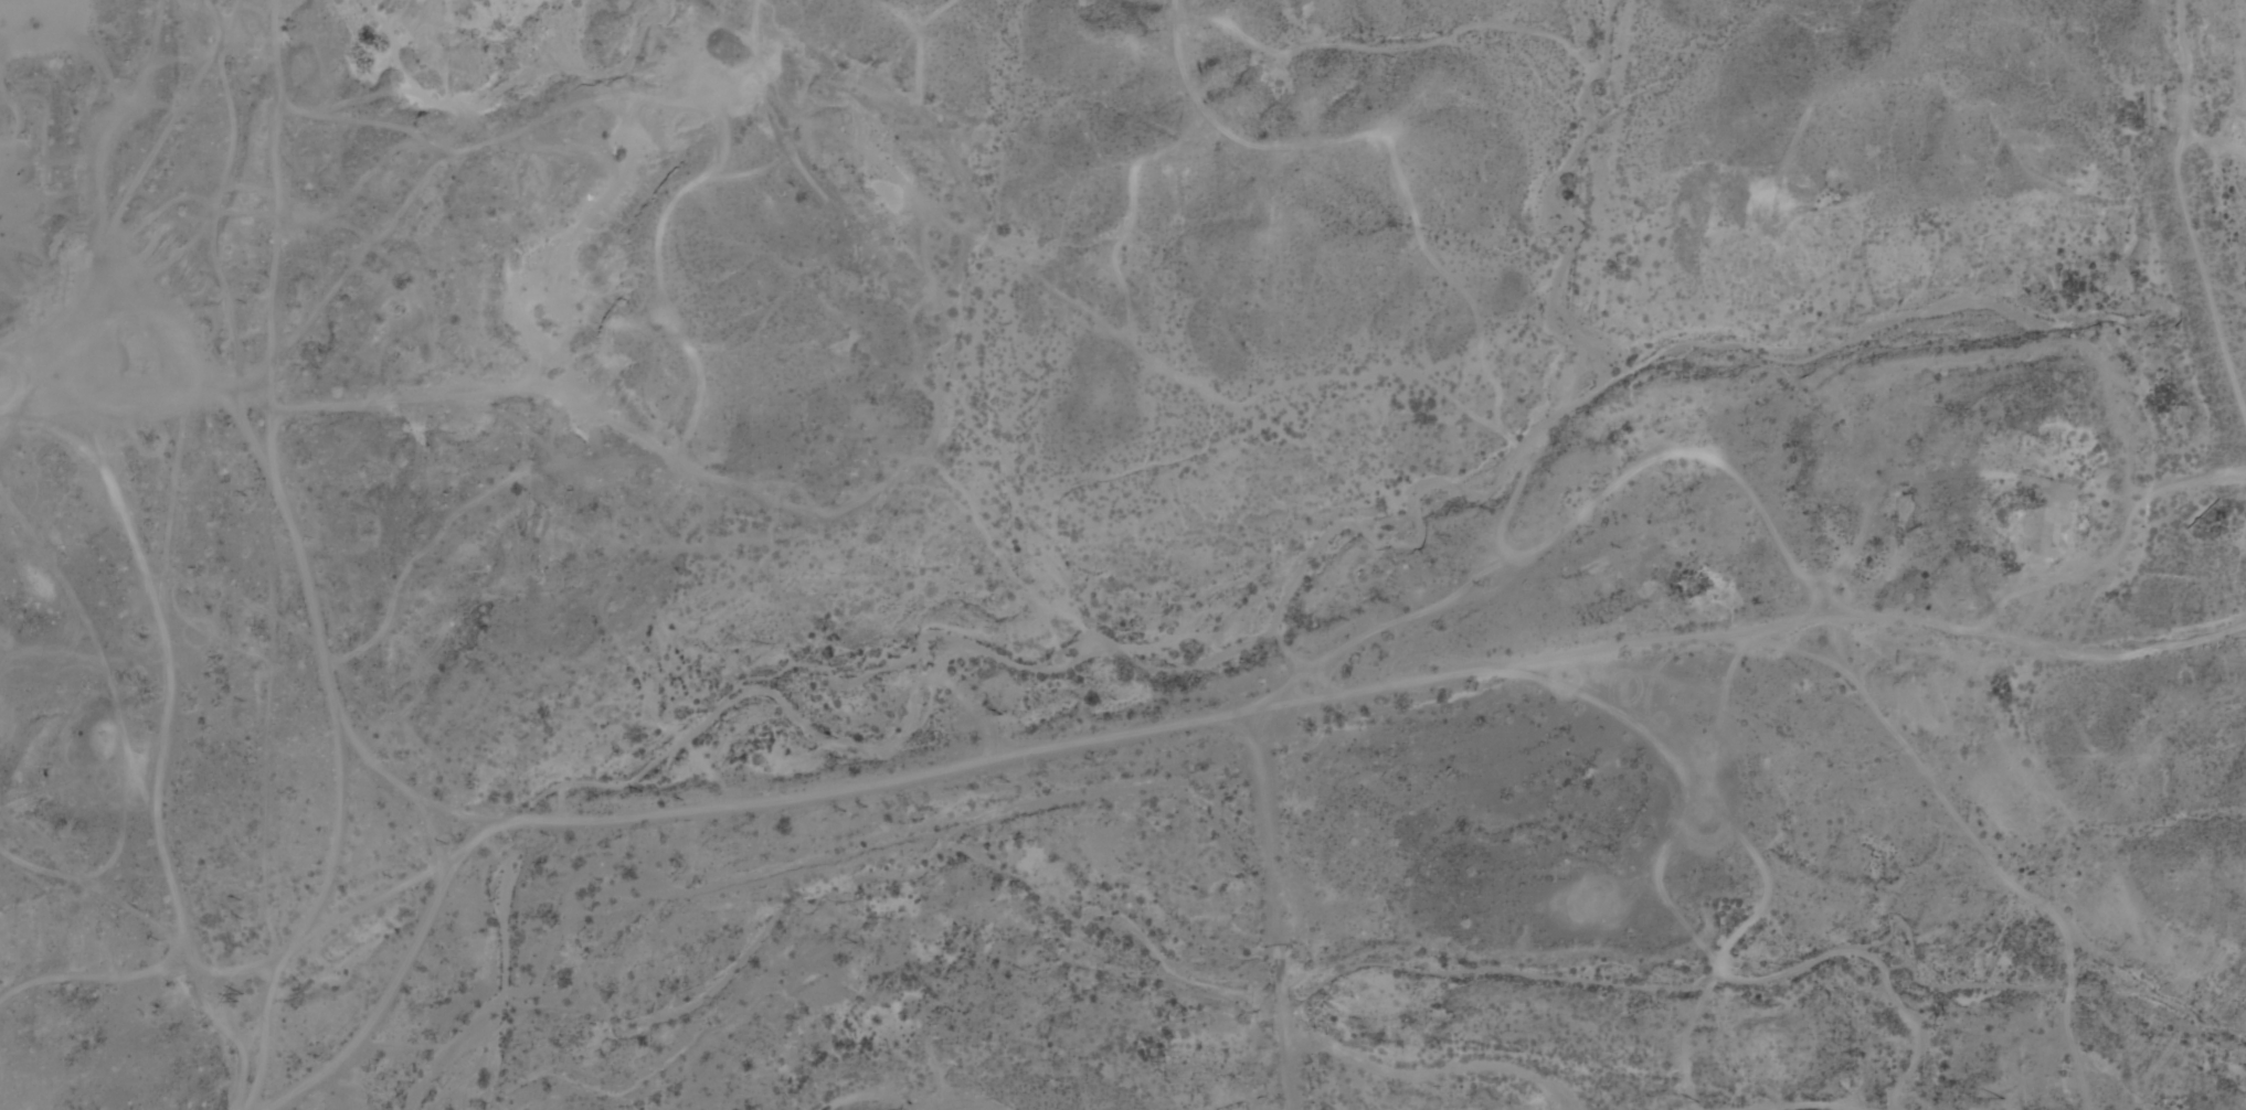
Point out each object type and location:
road: (2215, 142)
road: (2187, 203)
road: (268, 204)
dam: (2207, 233)
road: (455, 393)
road: (4, 415)
road: (2127, 524)
road: (1721, 630)
road: (161, 737)
road: (870, 782)
power tower: (0, 818)
road: (336, 829)
road: (81, 876)
road: (330, 919)
road: (1718, 957)
power tower: (245, 996)
road: (1438, 1068)
power tower: (1696, 1101)
road: (1793, 1104)
power tower: (2000, 1104)

